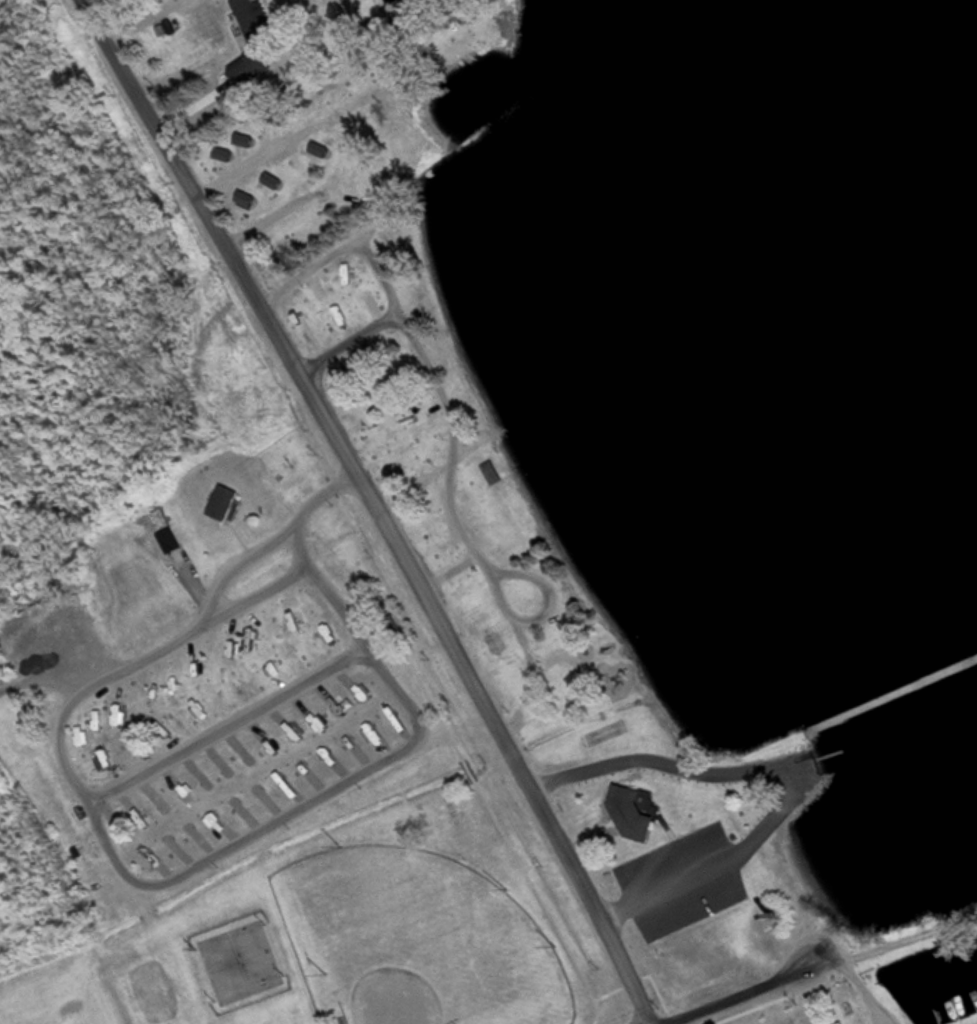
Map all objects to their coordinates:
building: (250, 19)
building: (491, 473)
building: (222, 503)
road: (376, 505)
building: (169, 539)
park: (325, 586)
building: (334, 714)
building: (362, 743)
road: (788, 810)
building: (628, 814)
building: (149, 853)
park: (419, 943)
road: (753, 990)
building: (838, 1015)

